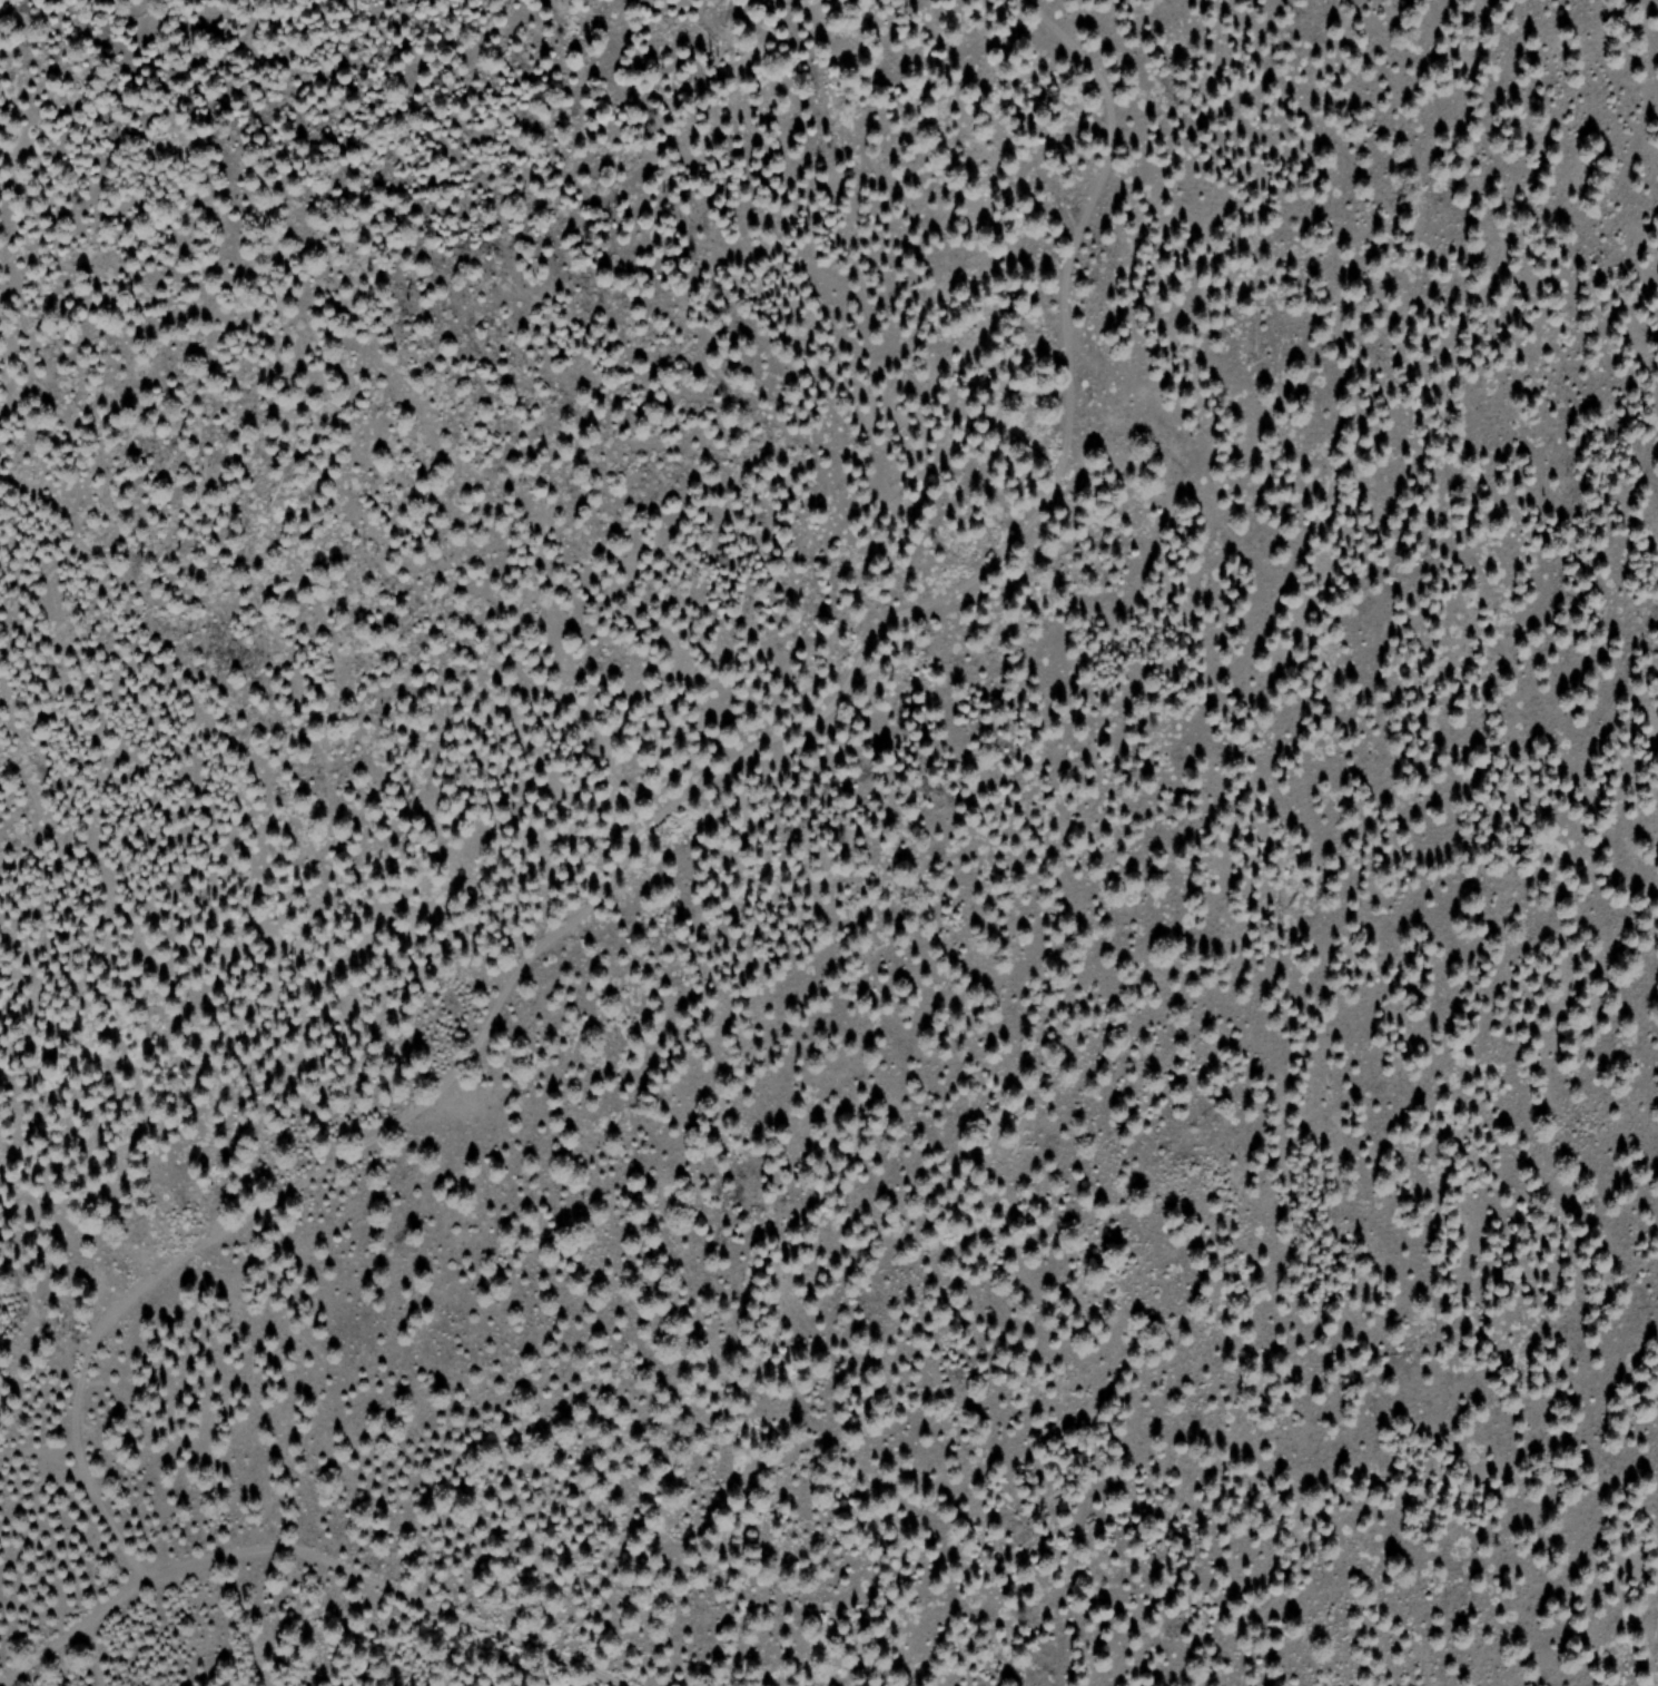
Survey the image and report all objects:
road: (317, 1564)

